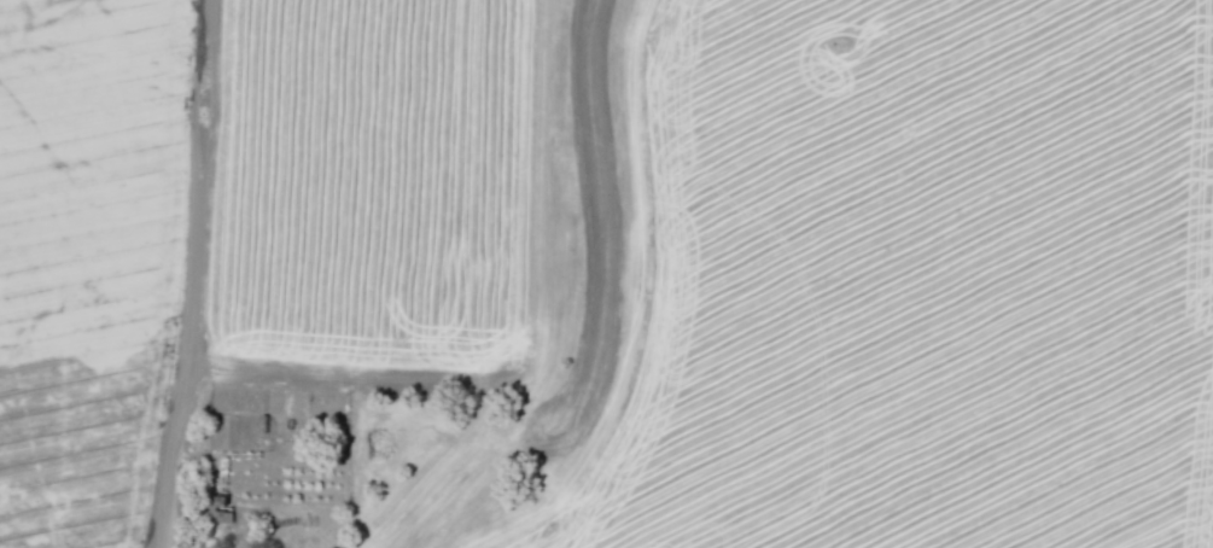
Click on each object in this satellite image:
crop: (362, 177)
crop: (87, 257)
road: (191, 275)
crop: (922, 280)
road: (636, 301)

